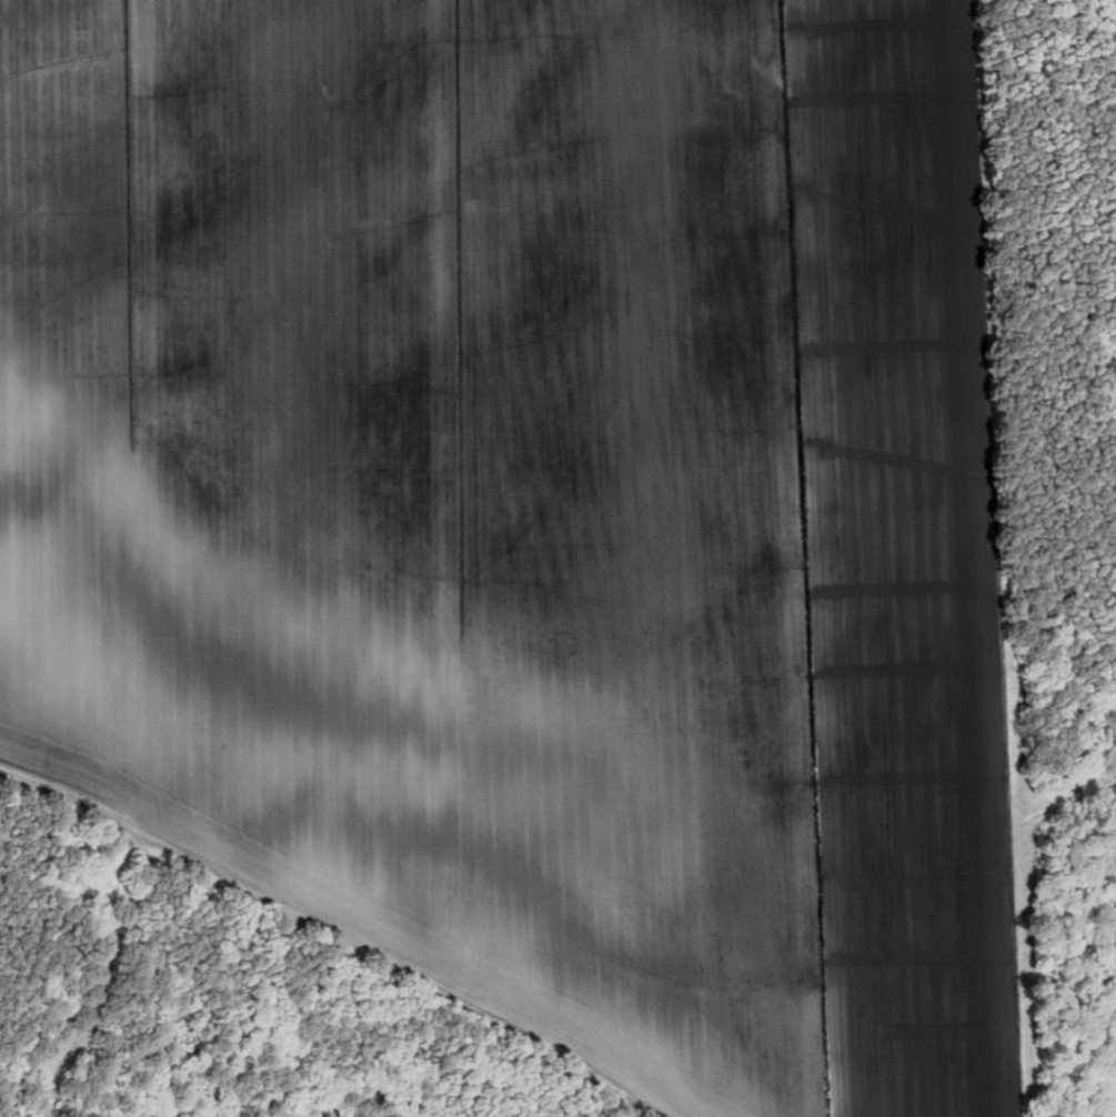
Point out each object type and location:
road: (366, 937)

